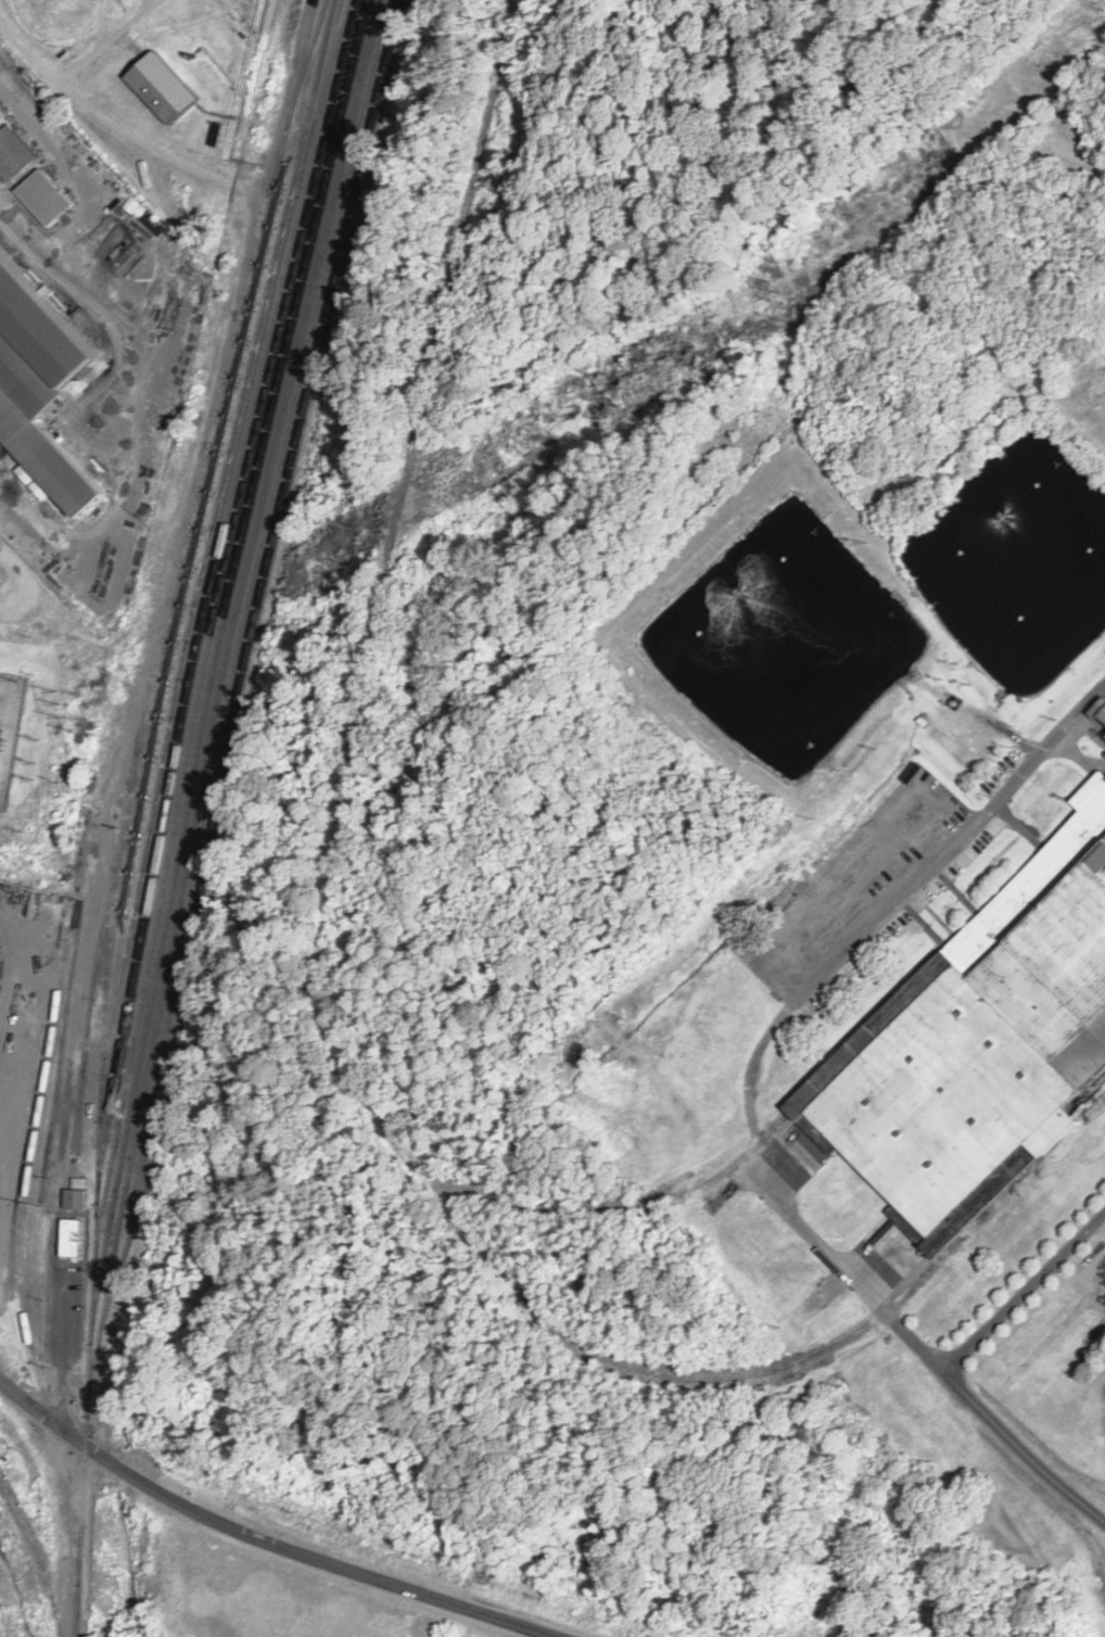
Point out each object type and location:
railway: (327, 2)
railway: (310, 49)
building: (161, 90)
building: (1, 119)
building: (12, 153)
building: (43, 199)
building: (39, 386)
railway: (205, 543)
railway: (211, 586)
railway: (173, 614)
railway: (256, 617)
railway: (217, 653)
railway: (239, 661)
railway: (201, 680)
power substation: (10, 729)
railway: (194, 812)
railway: (116, 860)
road: (871, 921)
building: (9, 987)
railway: (329, 1018)
building: (989, 1036)
railway: (707, 1183)
building: (74, 1198)
building: (71, 1238)
road: (1024, 1291)
railway: (22, 1303)
road: (912, 1340)
road: (264, 1540)
railway: (37, 1557)

